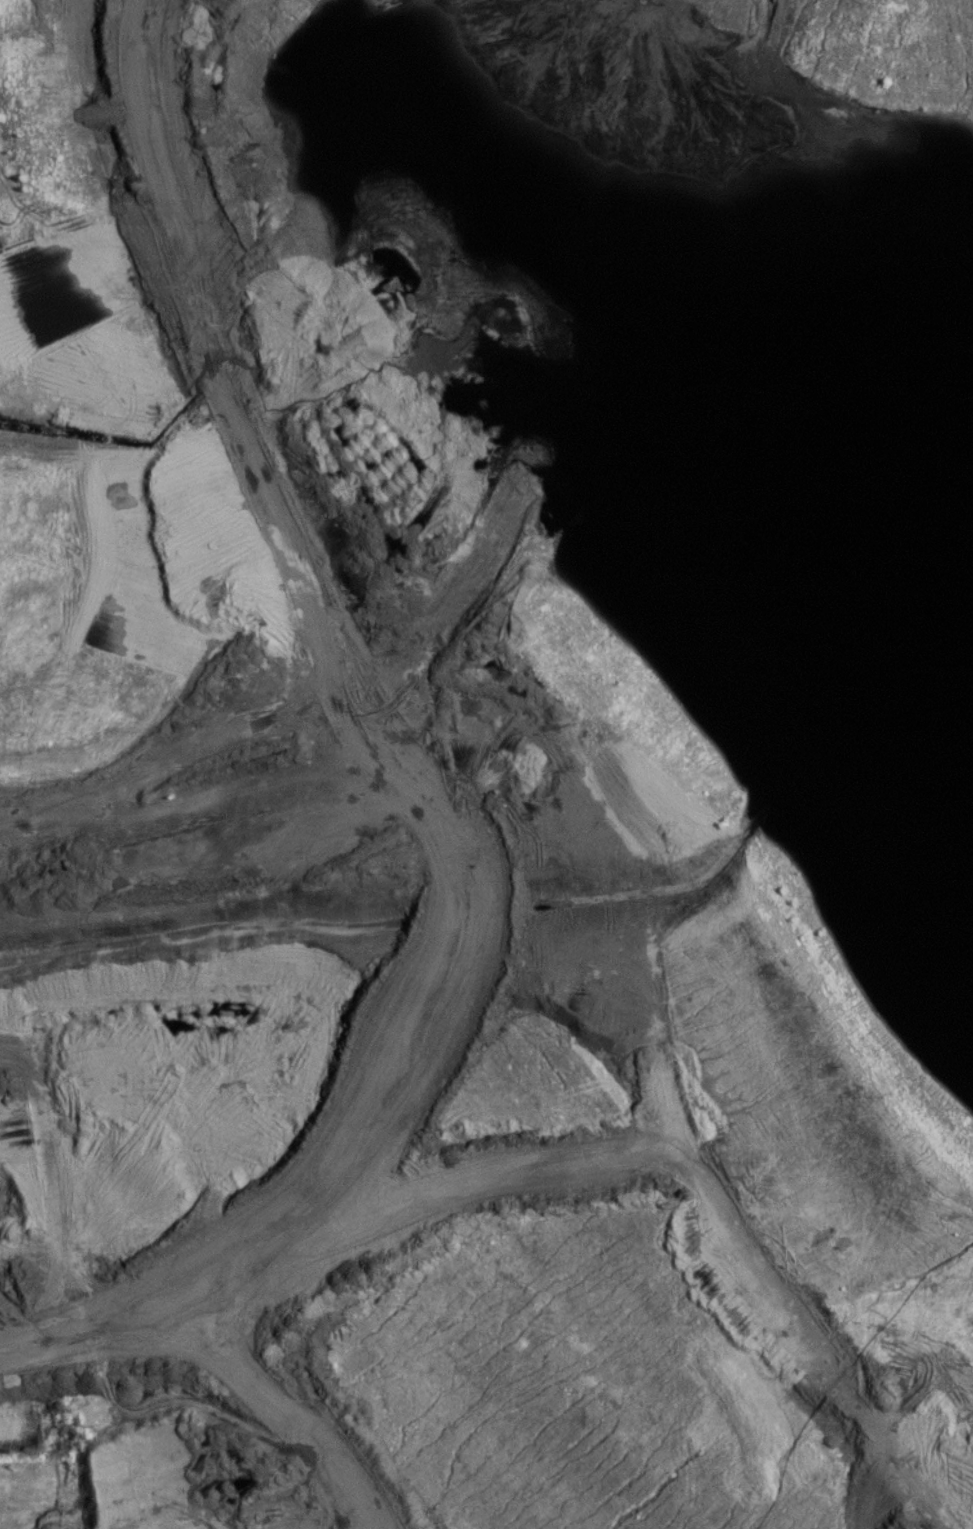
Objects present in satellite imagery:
quarry: (497, 743)

